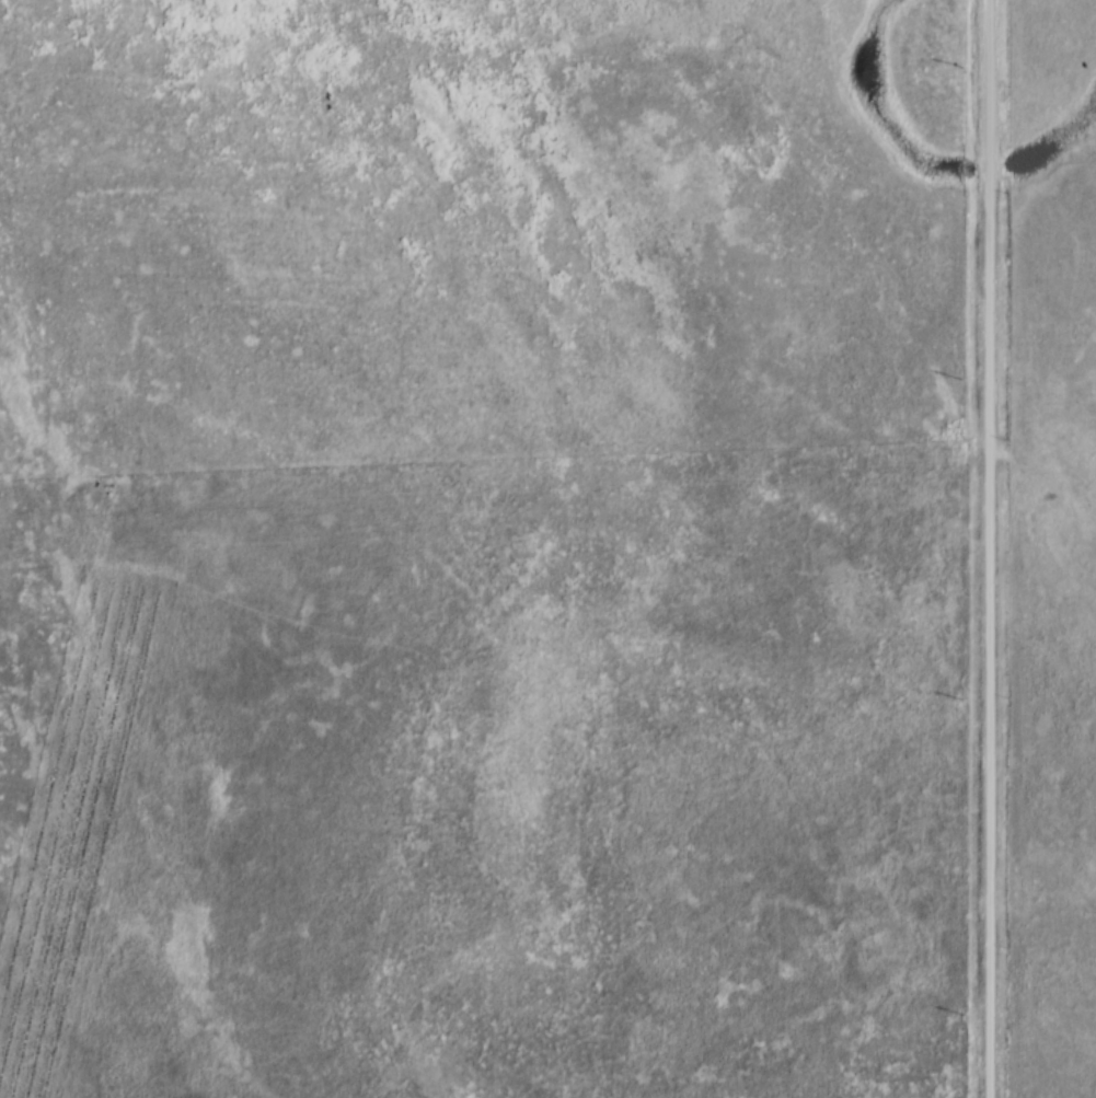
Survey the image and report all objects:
road: (991, 548)

